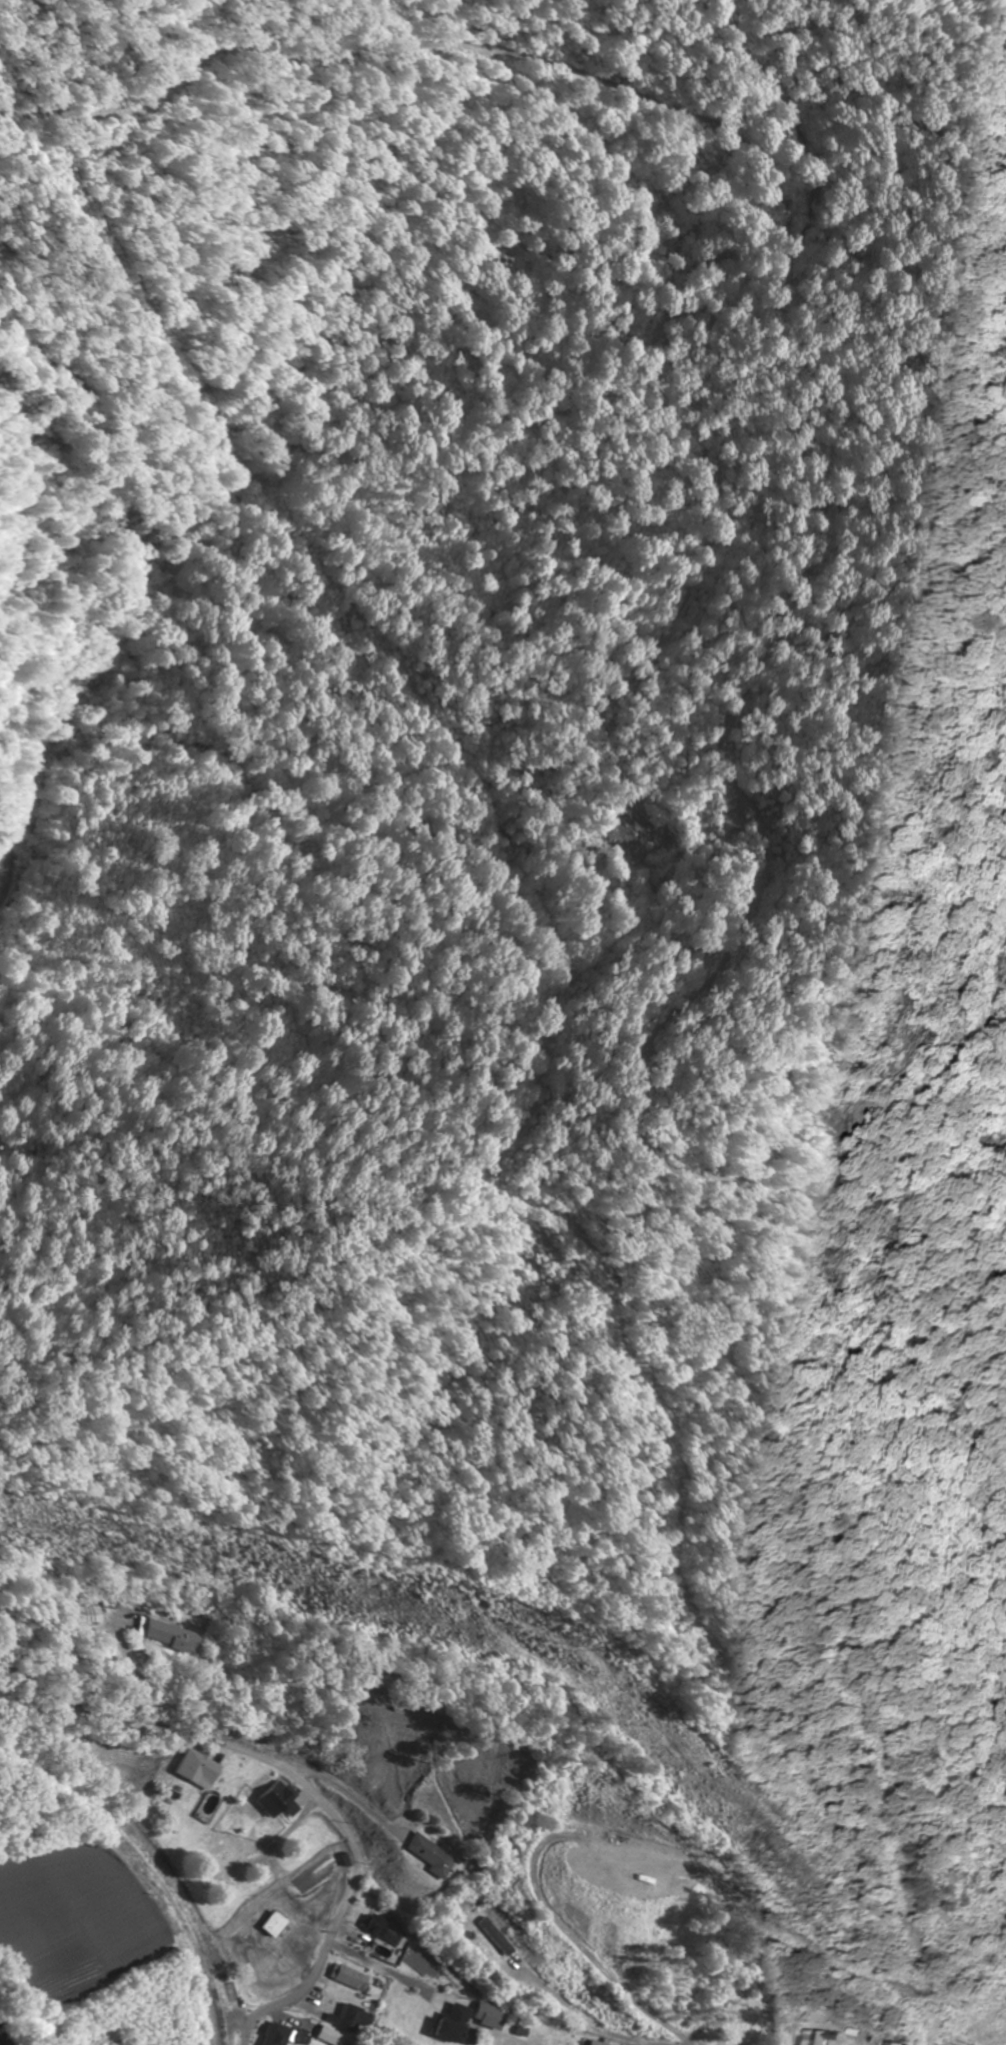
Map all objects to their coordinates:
road: (3, 849)
building: (93, 1615)
building: (172, 1635)
building: (202, 1769)
road: (301, 1783)
building: (280, 1799)
building: (236, 1846)
building: (431, 1855)
railway: (154, 1865)
building: (277, 1925)
building: (384, 1929)
building: (483, 1934)
road: (391, 1944)
building: (353, 1978)
park: (745, 2011)
road: (584, 2015)
building: (349, 2018)
building: (458, 2022)
building: (279, 2035)
building: (333, 2036)
building: (304, 2037)
building: (813, 2037)
building: (601, 2042)
building: (890, 2043)

